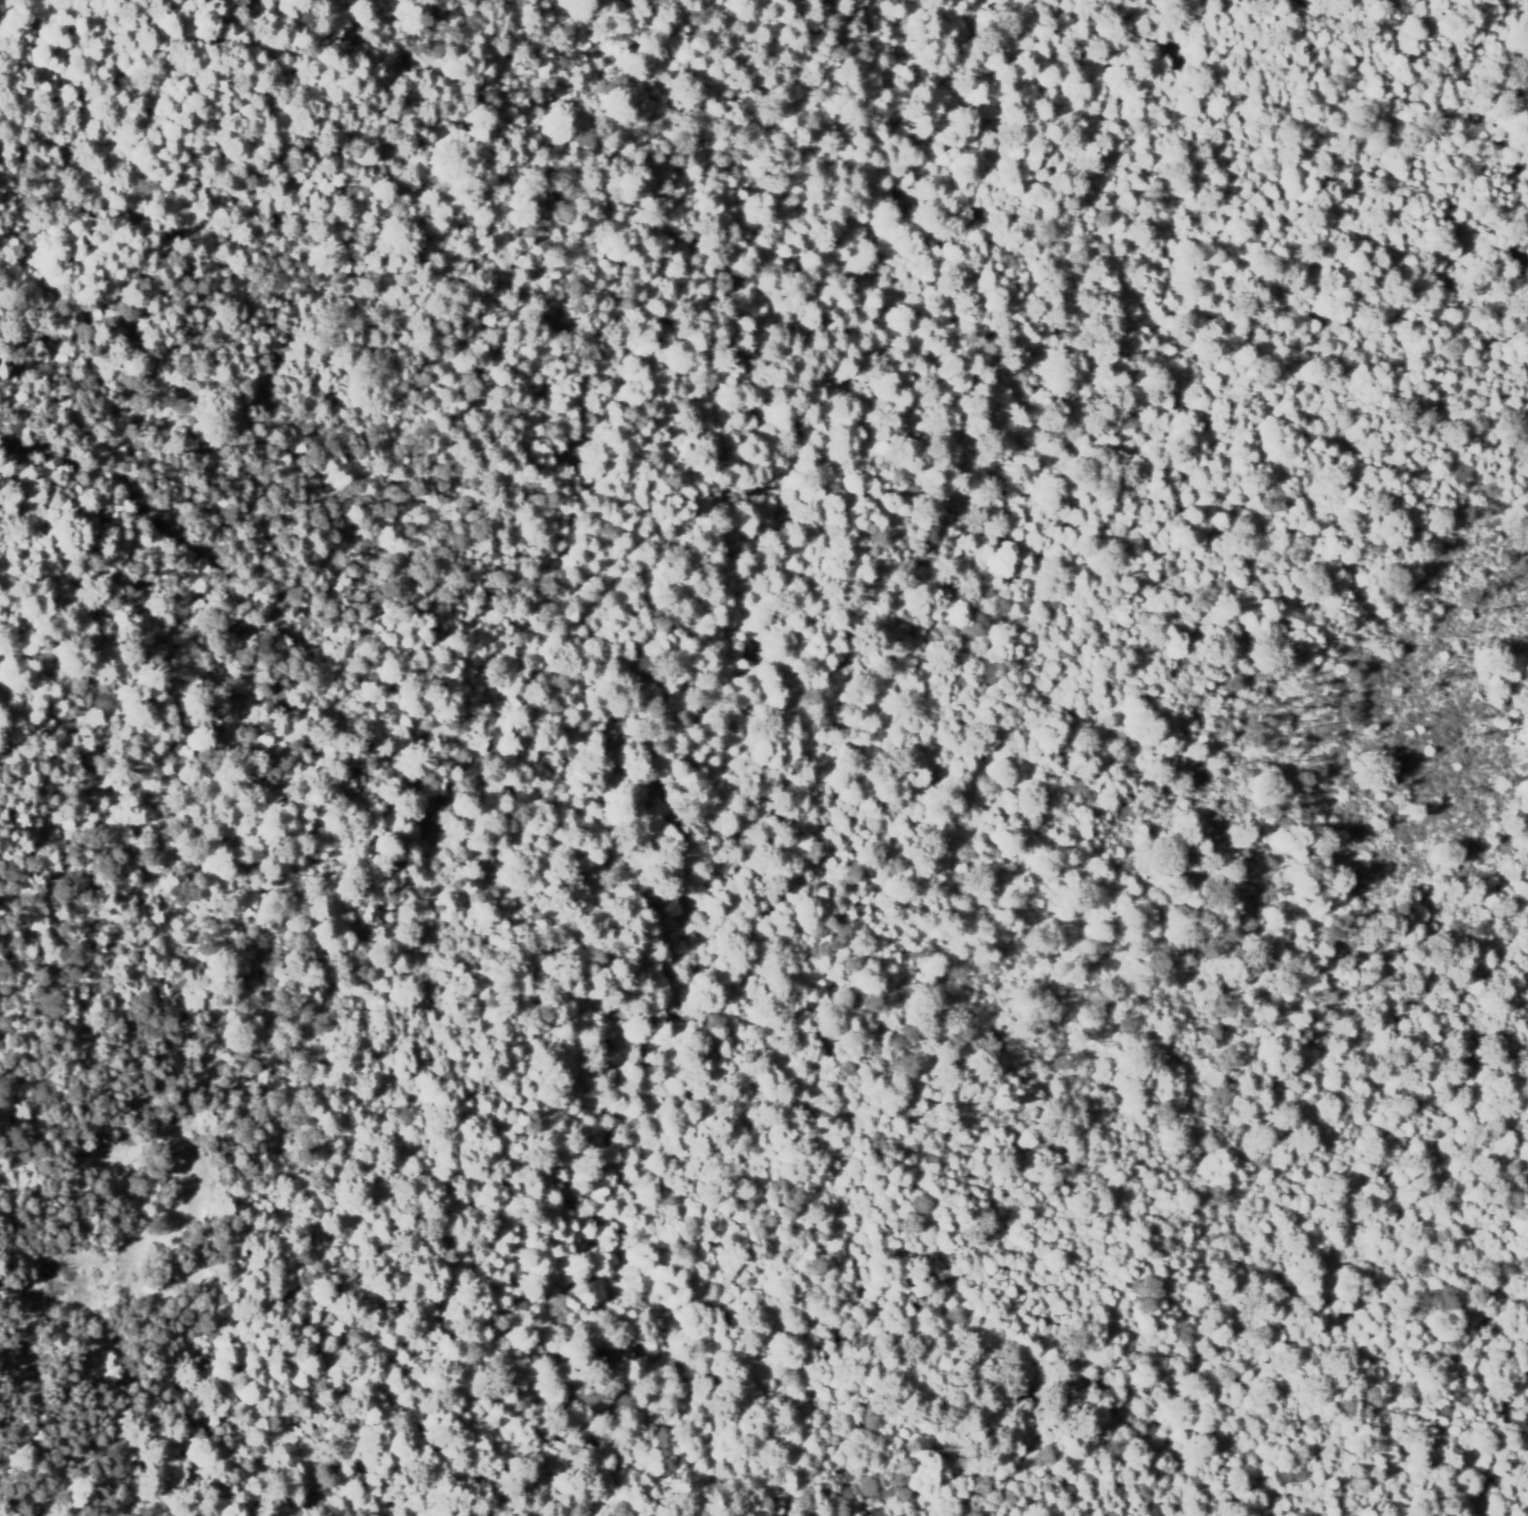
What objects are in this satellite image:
building: (426, 828)
road: (1494, 1492)

